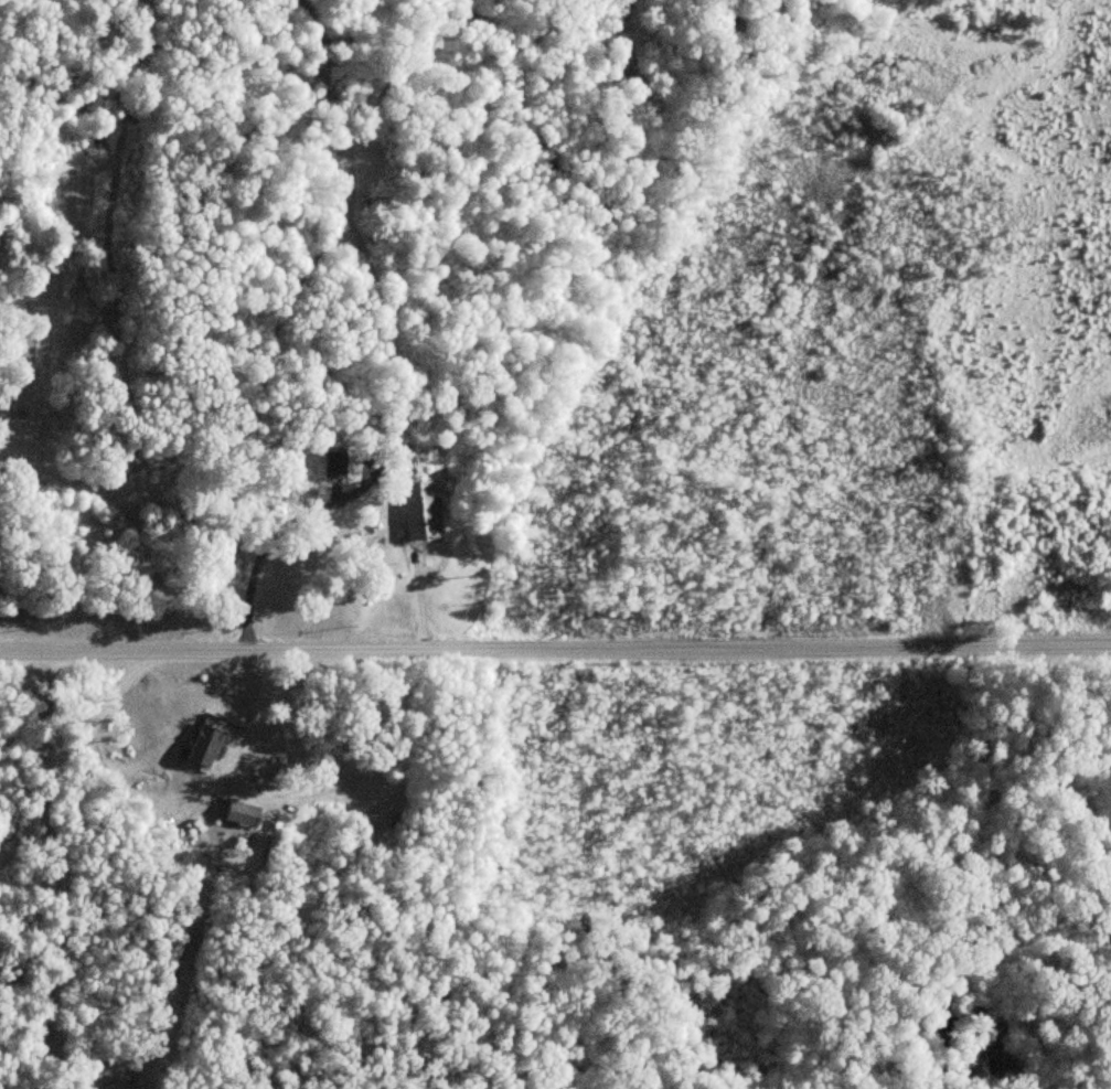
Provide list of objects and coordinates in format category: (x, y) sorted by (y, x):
building: (333, 465)
building: (419, 513)
road: (250, 558)
road: (555, 648)
building: (202, 747)
road: (172, 797)
building: (238, 813)
road: (63, 866)
building: (116, 1086)

